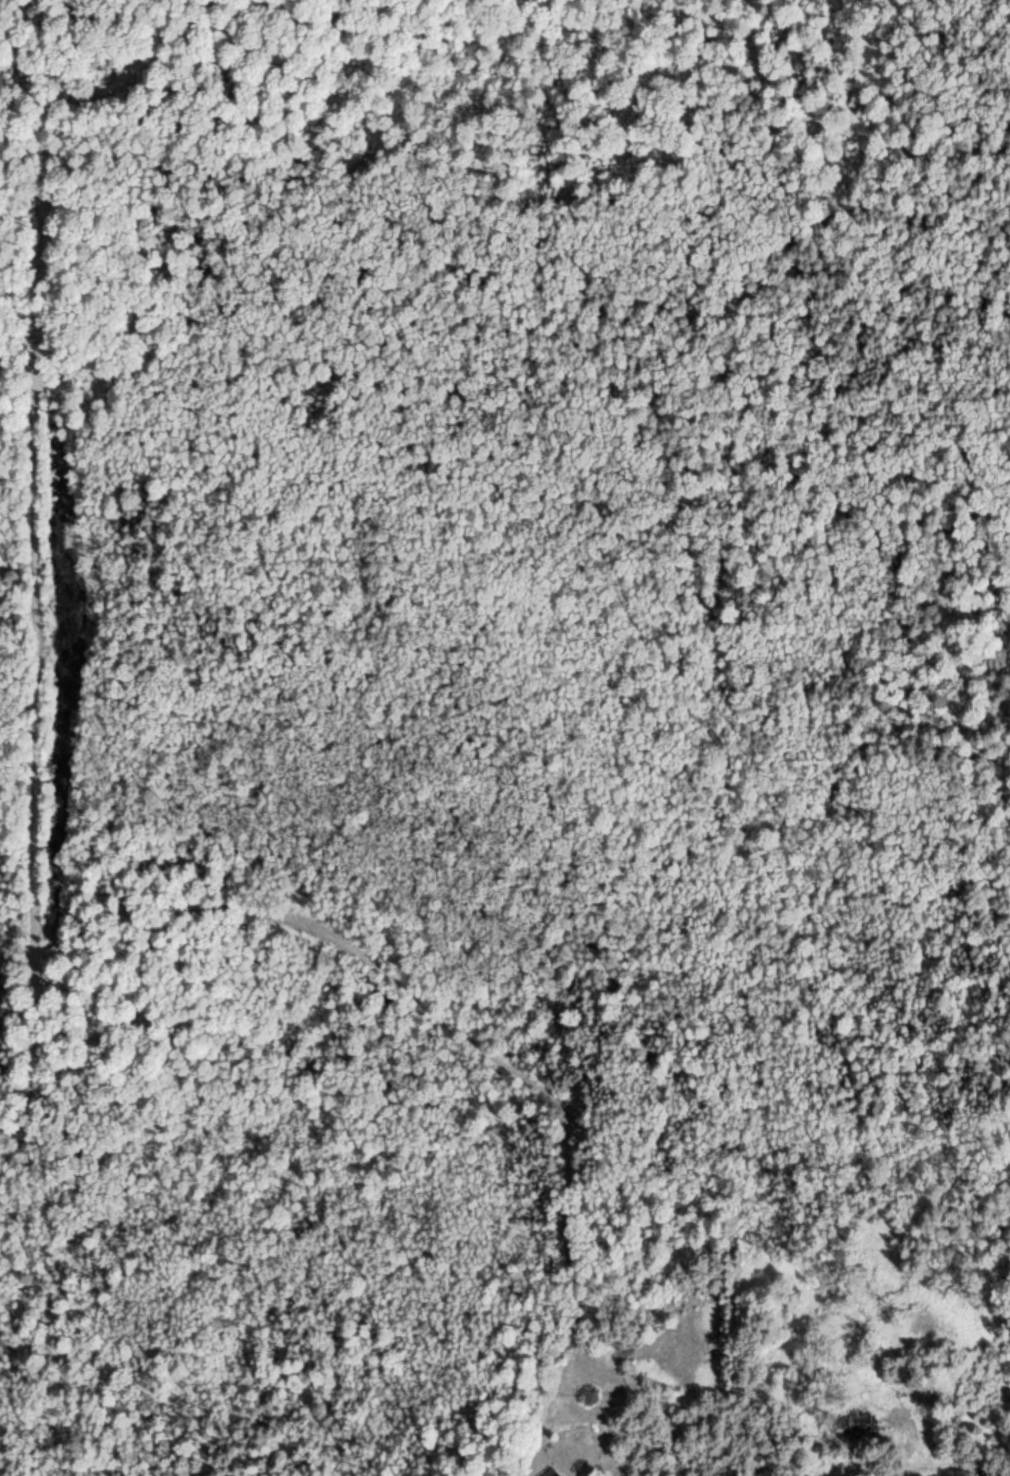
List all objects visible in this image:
road: (946, 1464)

